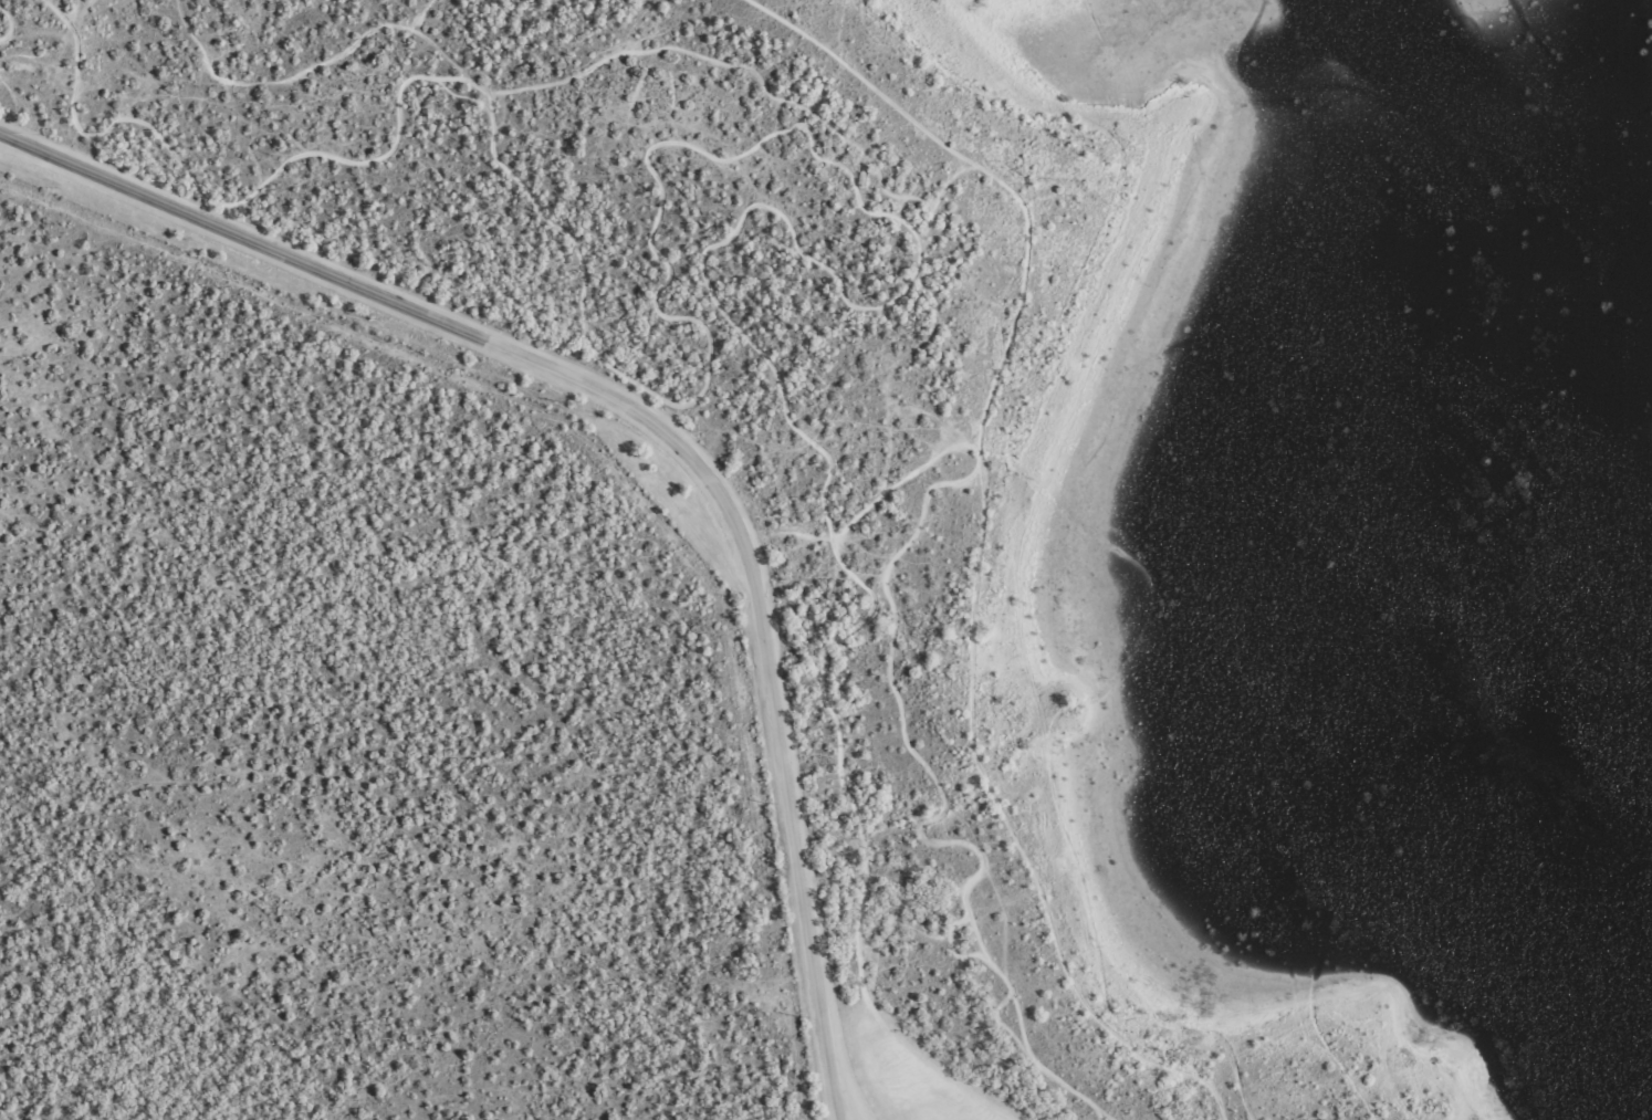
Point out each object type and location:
road: (660, 430)
road: (838, 1108)

